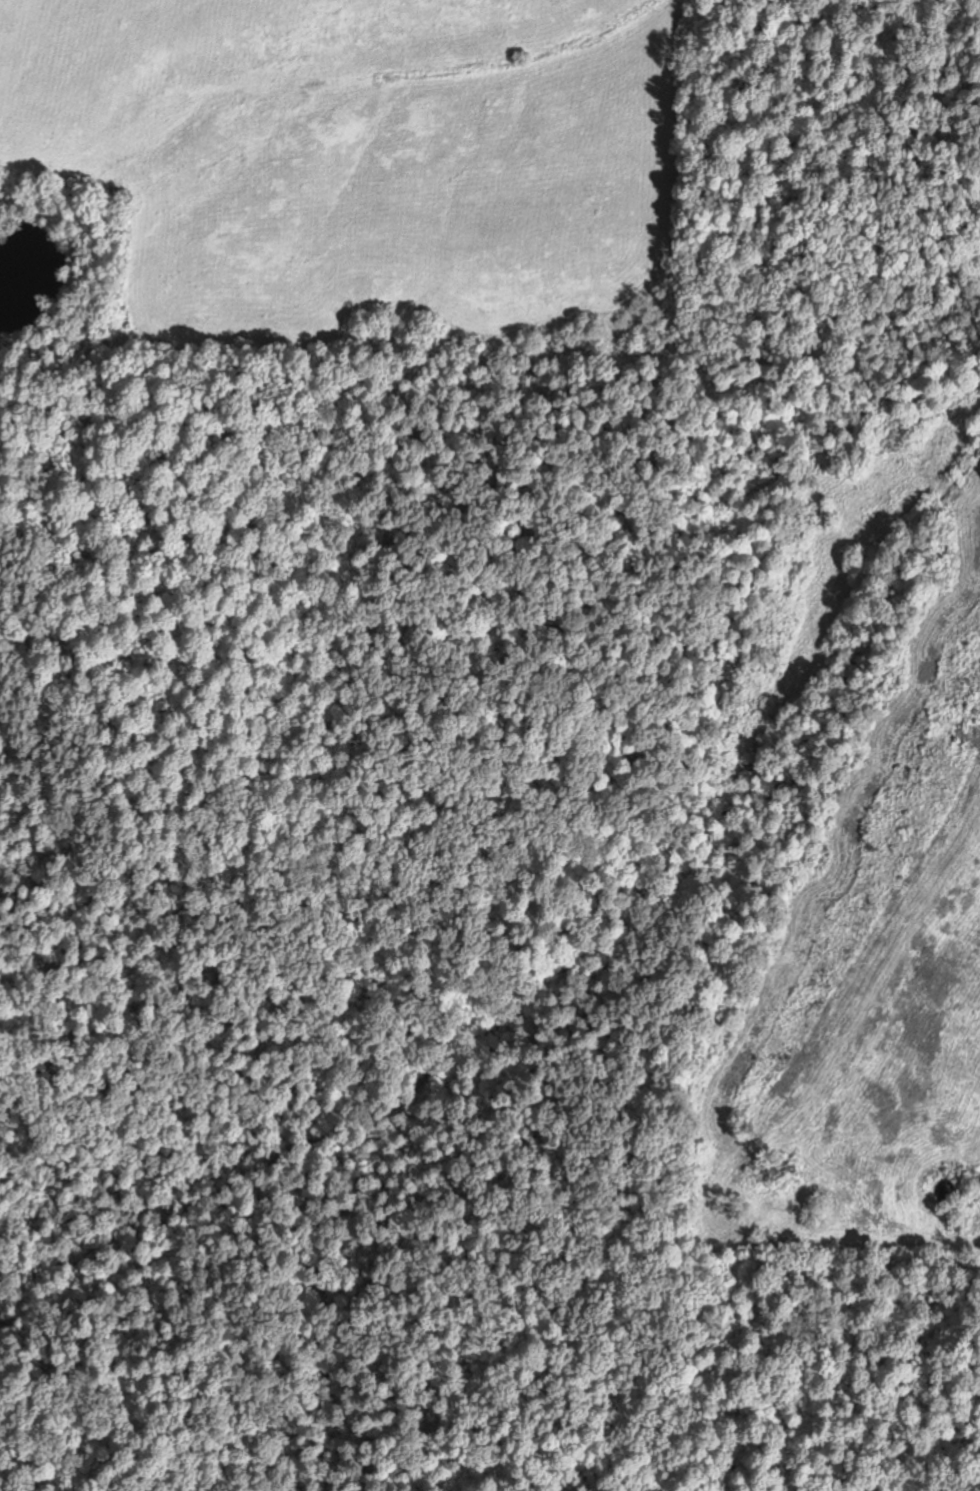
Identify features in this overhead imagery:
building: (771, 1176)

